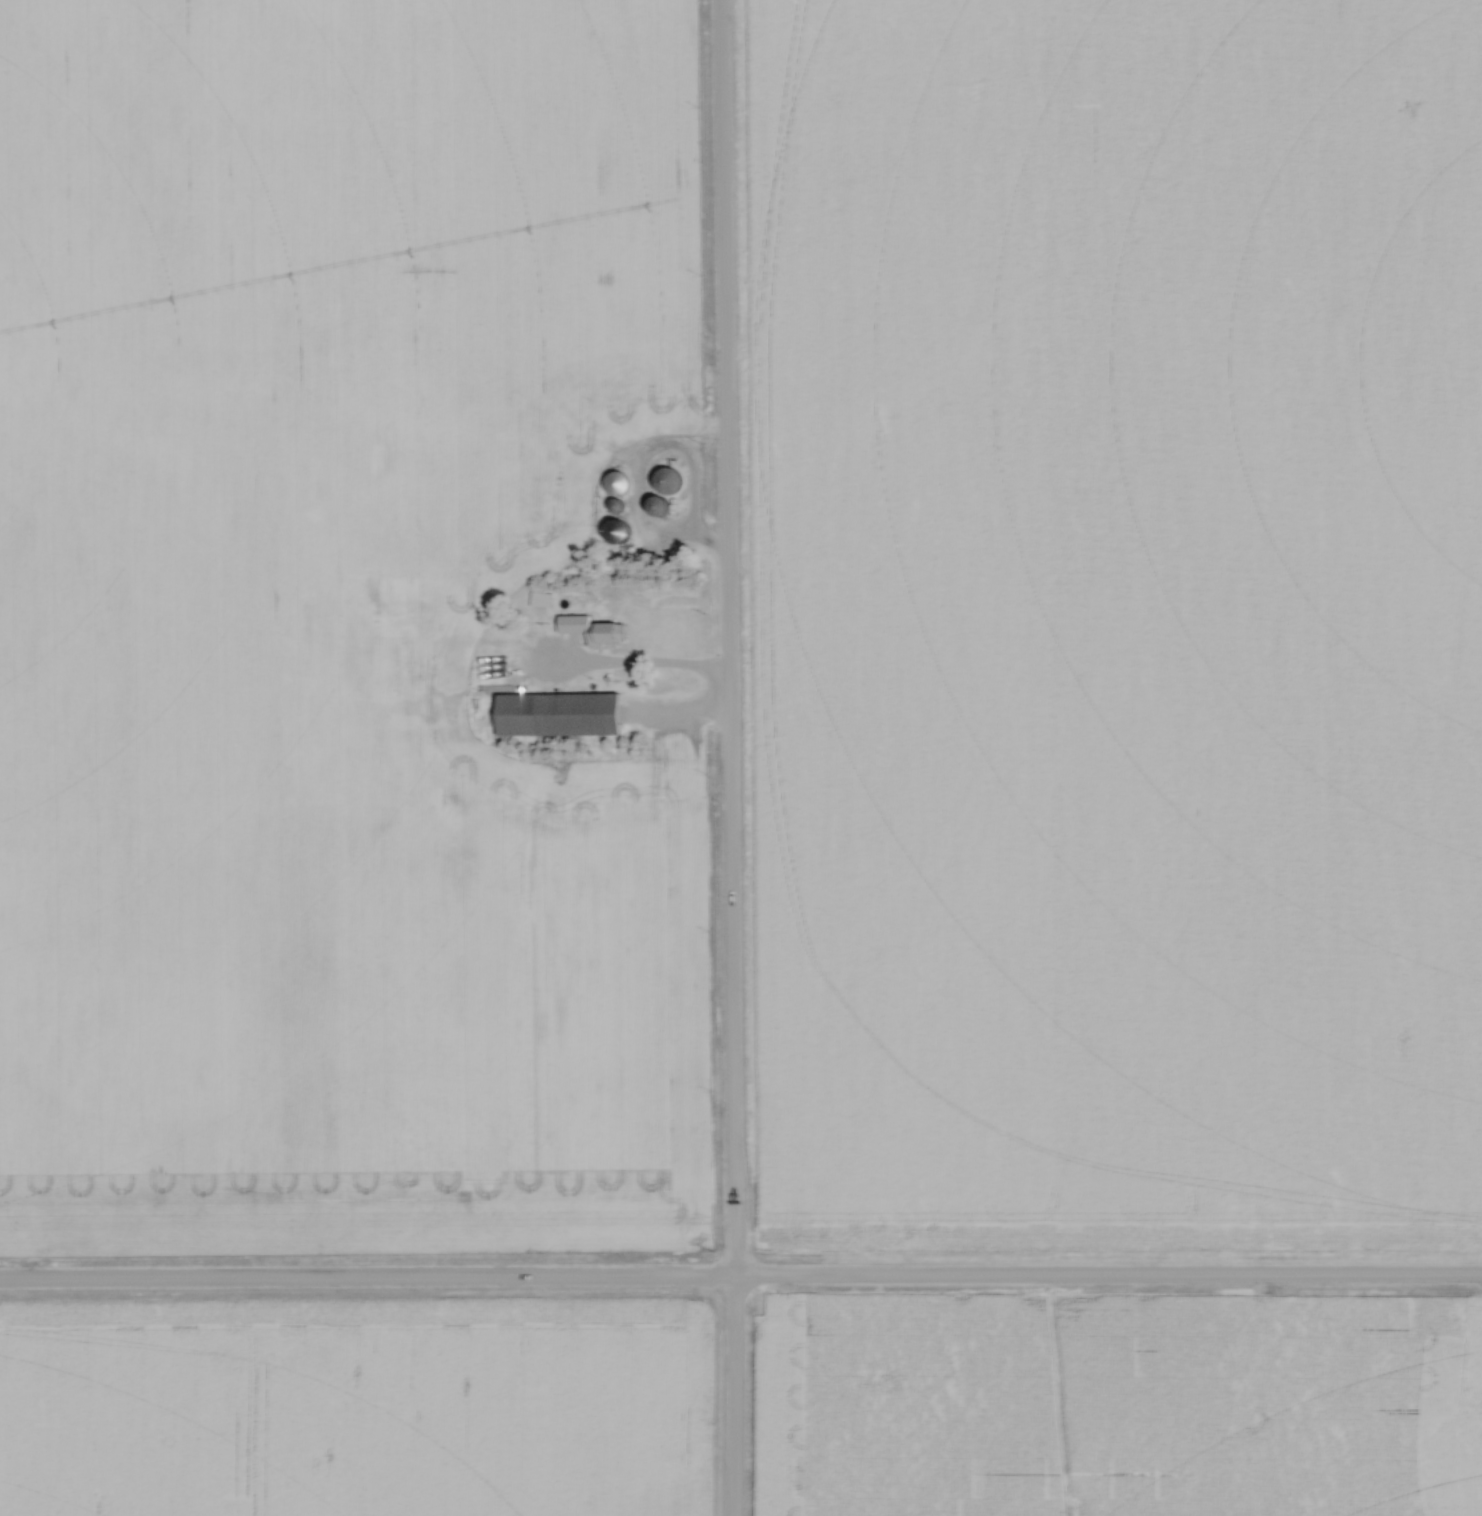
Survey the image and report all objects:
building: (671, 481)
building: (621, 484)
building: (566, 603)
building: (598, 630)
building: (433, 652)
building: (494, 657)
road: (638, 670)
building: (563, 714)
road: (723, 758)
road: (740, 1283)

